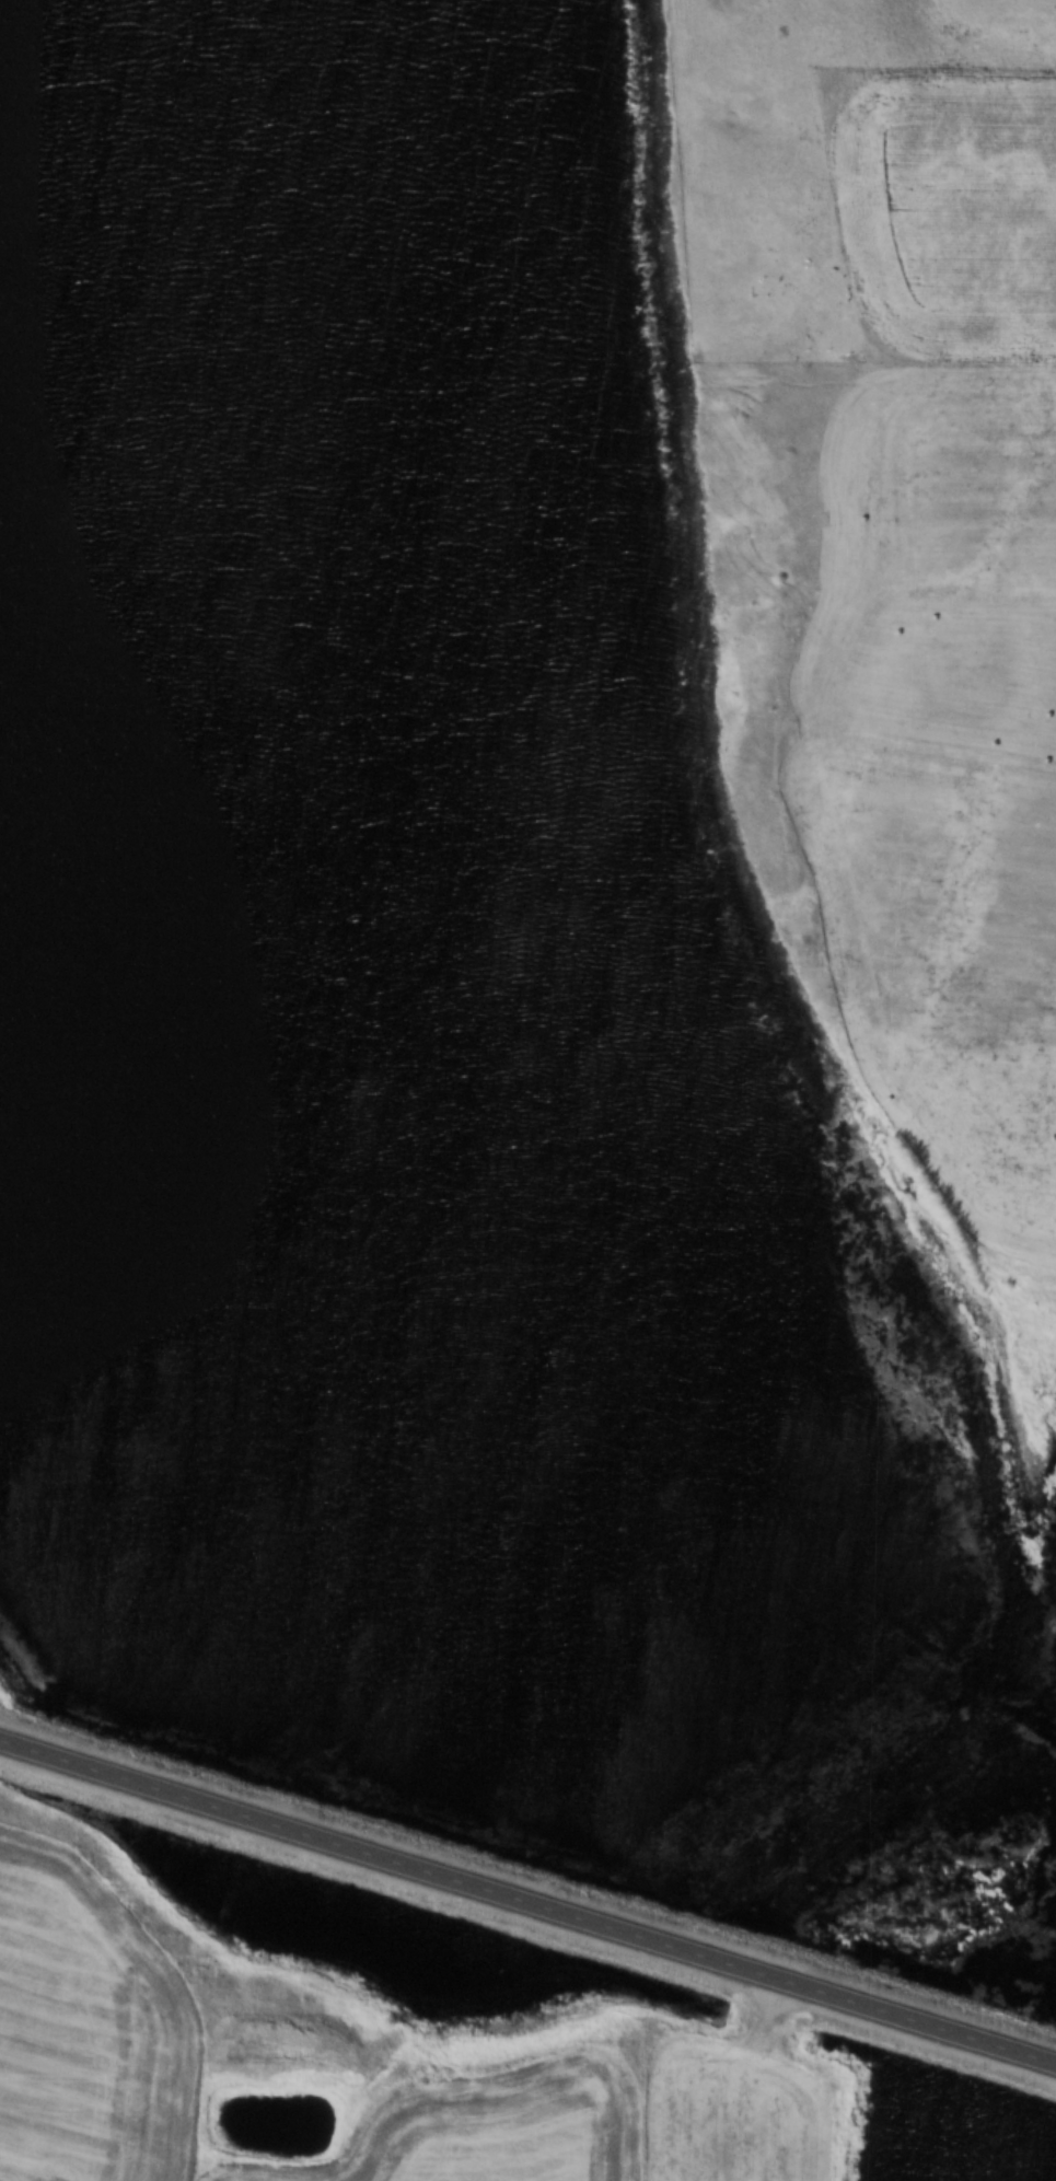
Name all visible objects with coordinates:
road: (527, 1906)

